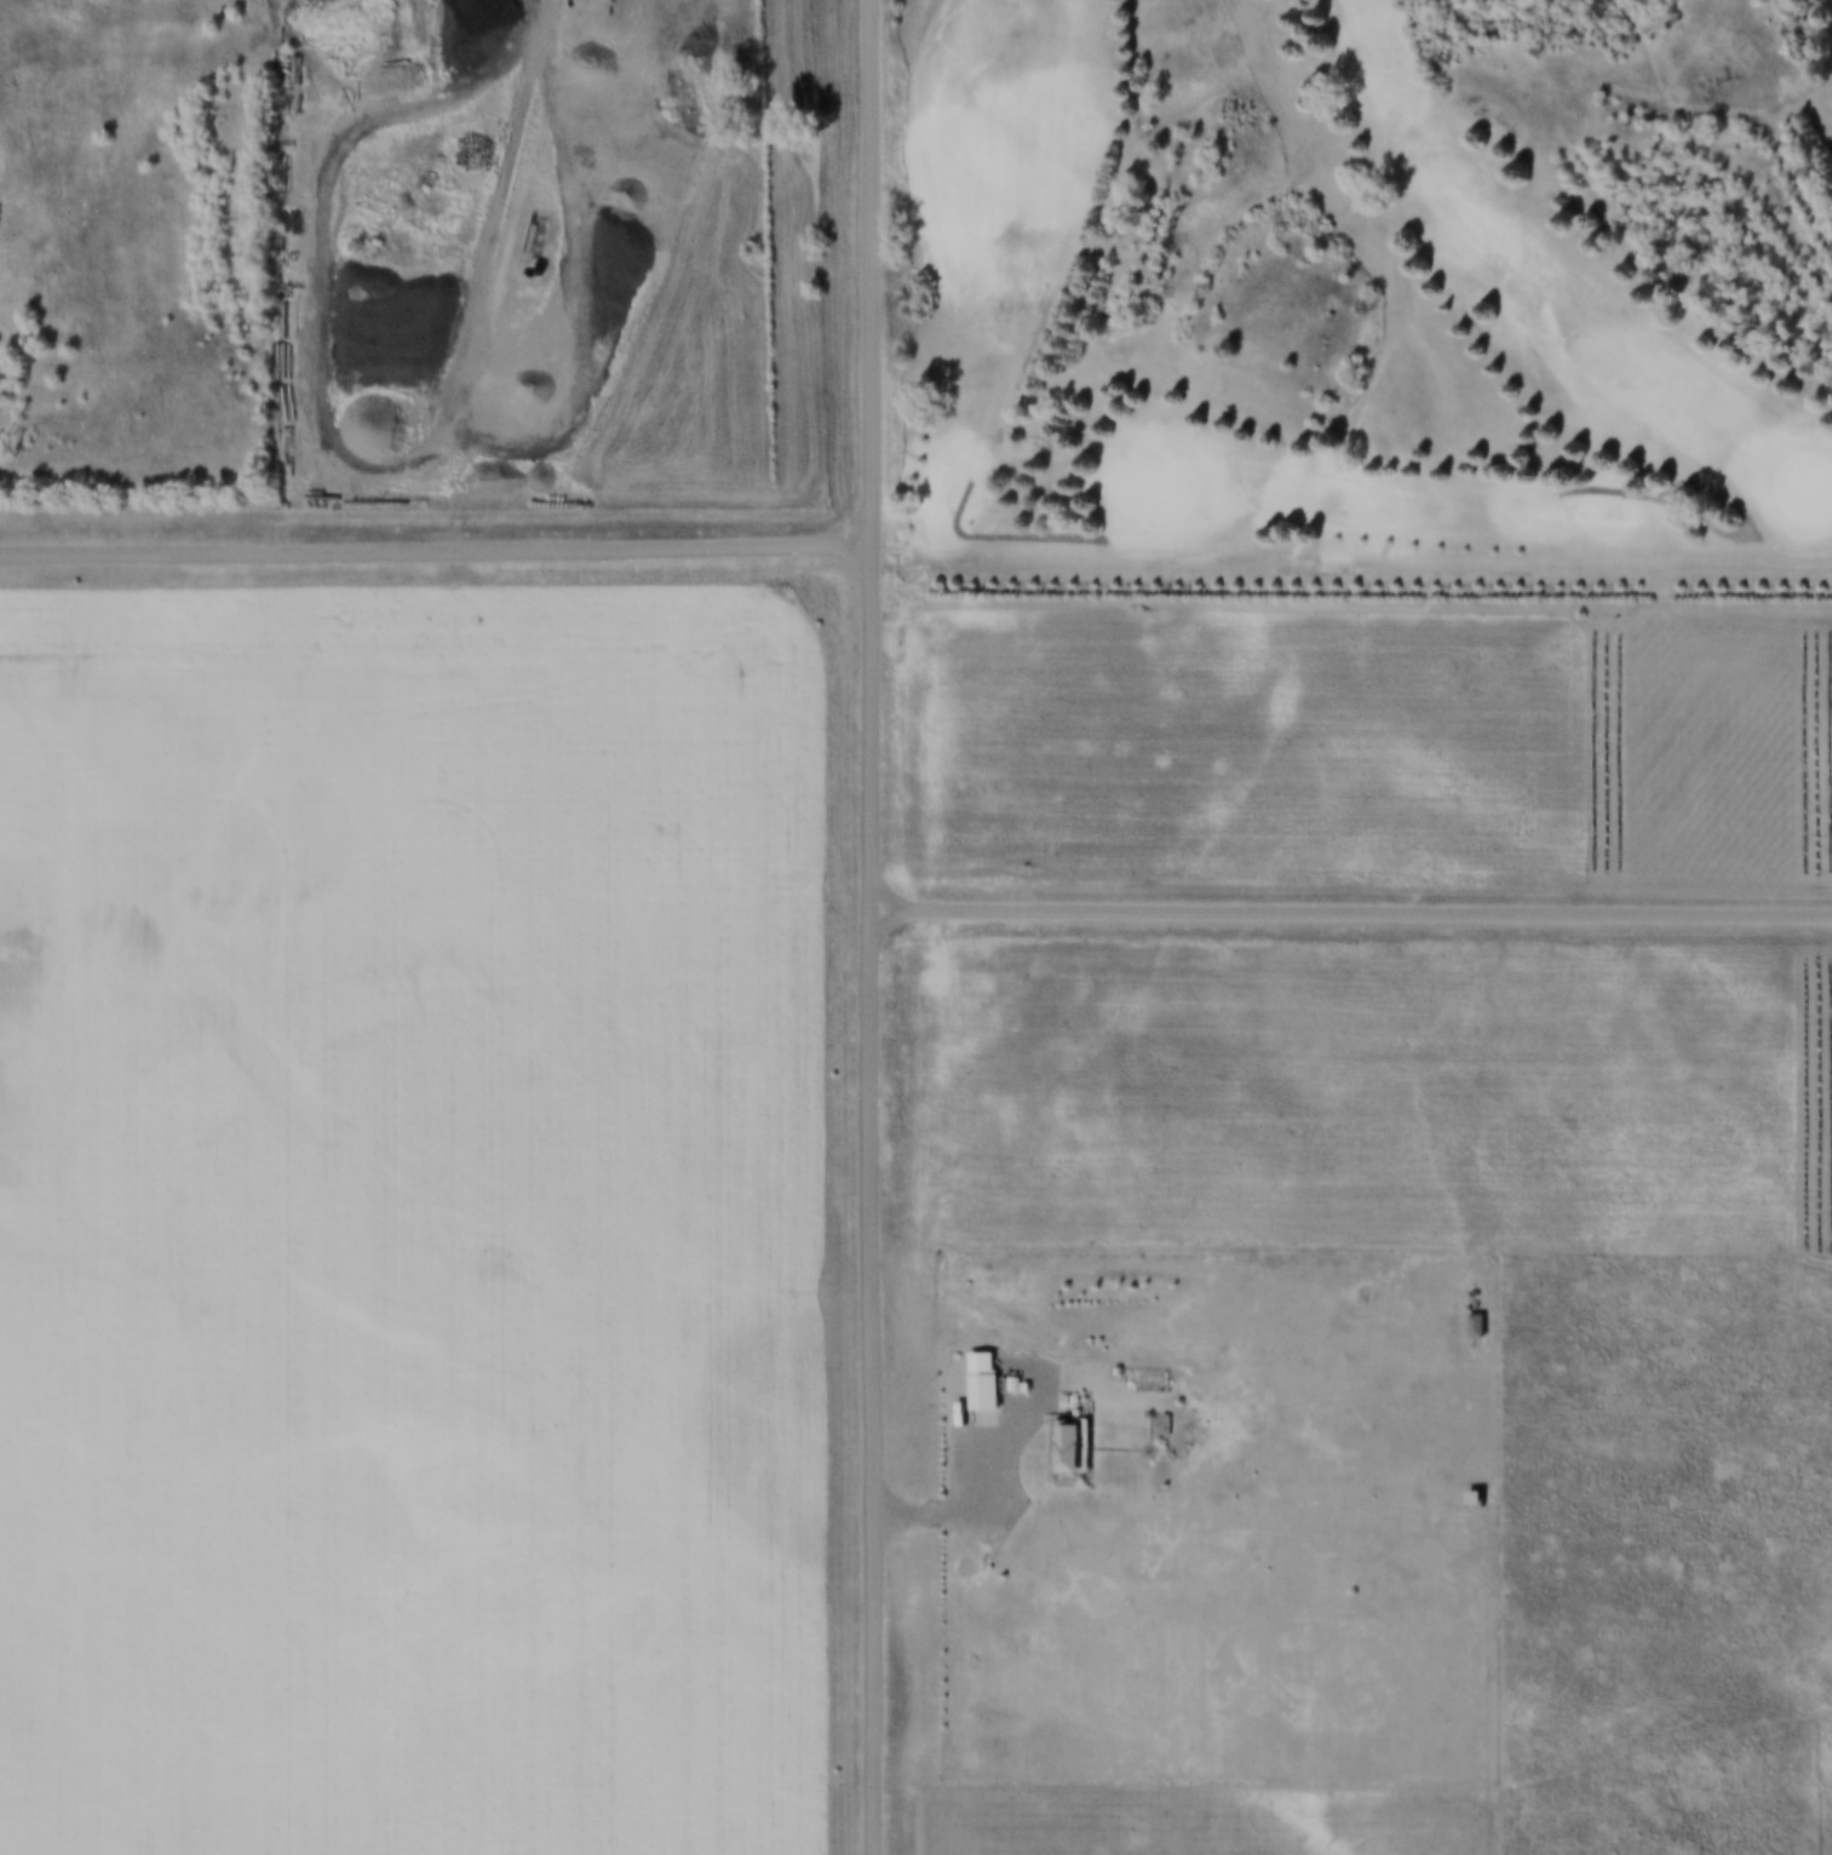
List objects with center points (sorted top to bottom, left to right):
road: (262, 54)
road: (507, 219)
building: (530, 282)
building: (521, 286)
park: (1363, 304)
road: (441, 556)
road: (1356, 575)
road: (1357, 919)
road: (883, 927)
building: (1102, 1376)
building: (983, 1378)
building: (966, 1385)
building: (1000, 1389)
building: (1152, 1426)
building: (1068, 1442)
building: (1049, 1451)

